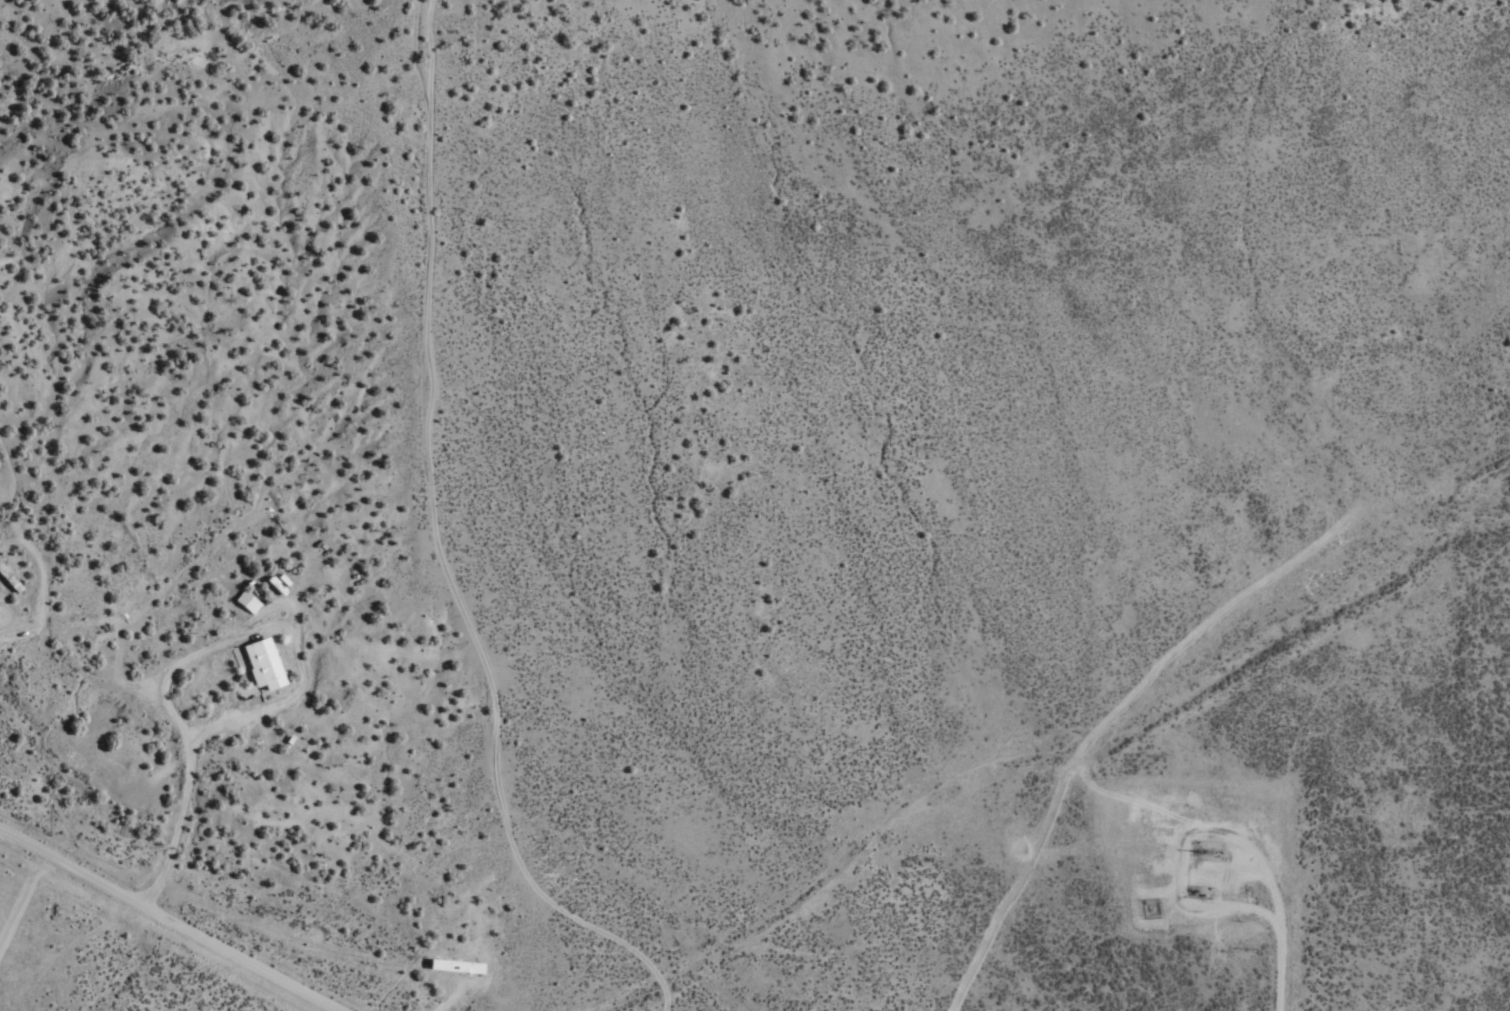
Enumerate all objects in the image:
building: (246, 601)
building: (267, 664)
road: (165, 923)

